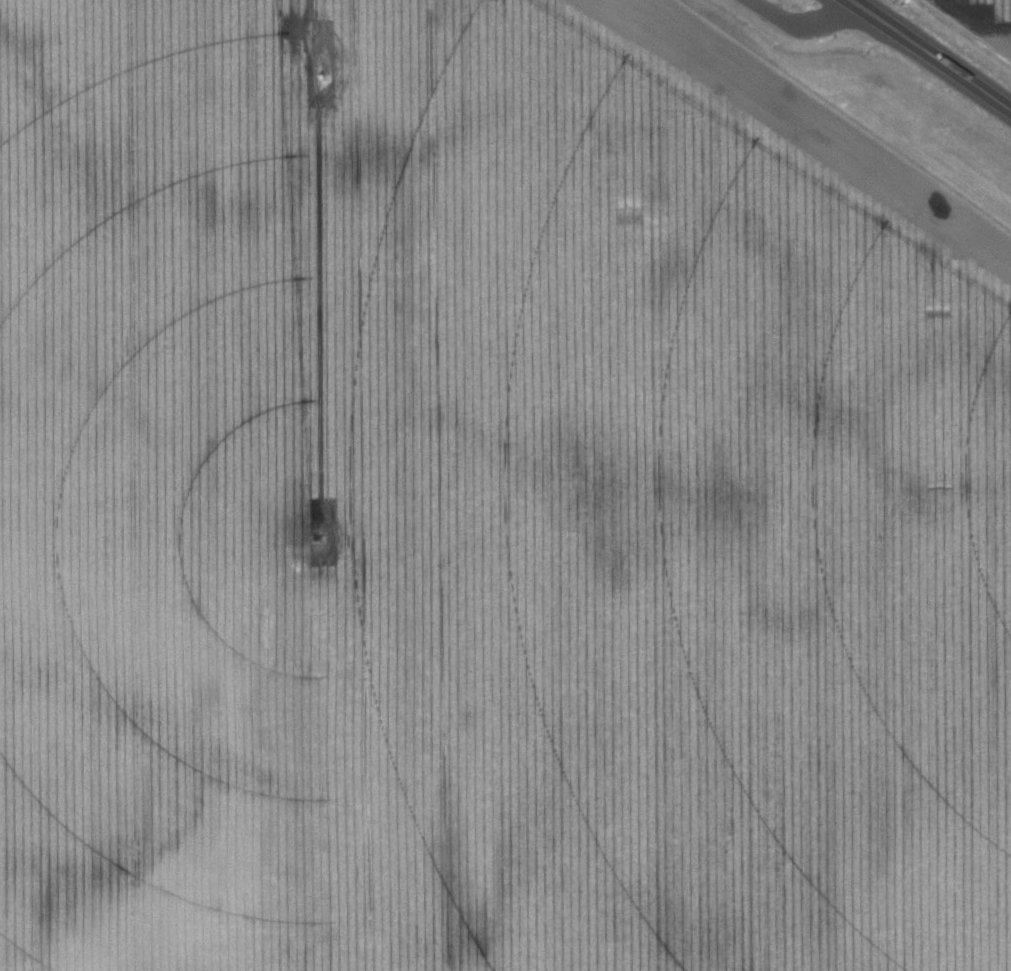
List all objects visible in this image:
crop: (995, 11)
road: (825, 28)
road: (942, 50)
crop: (978, 837)

